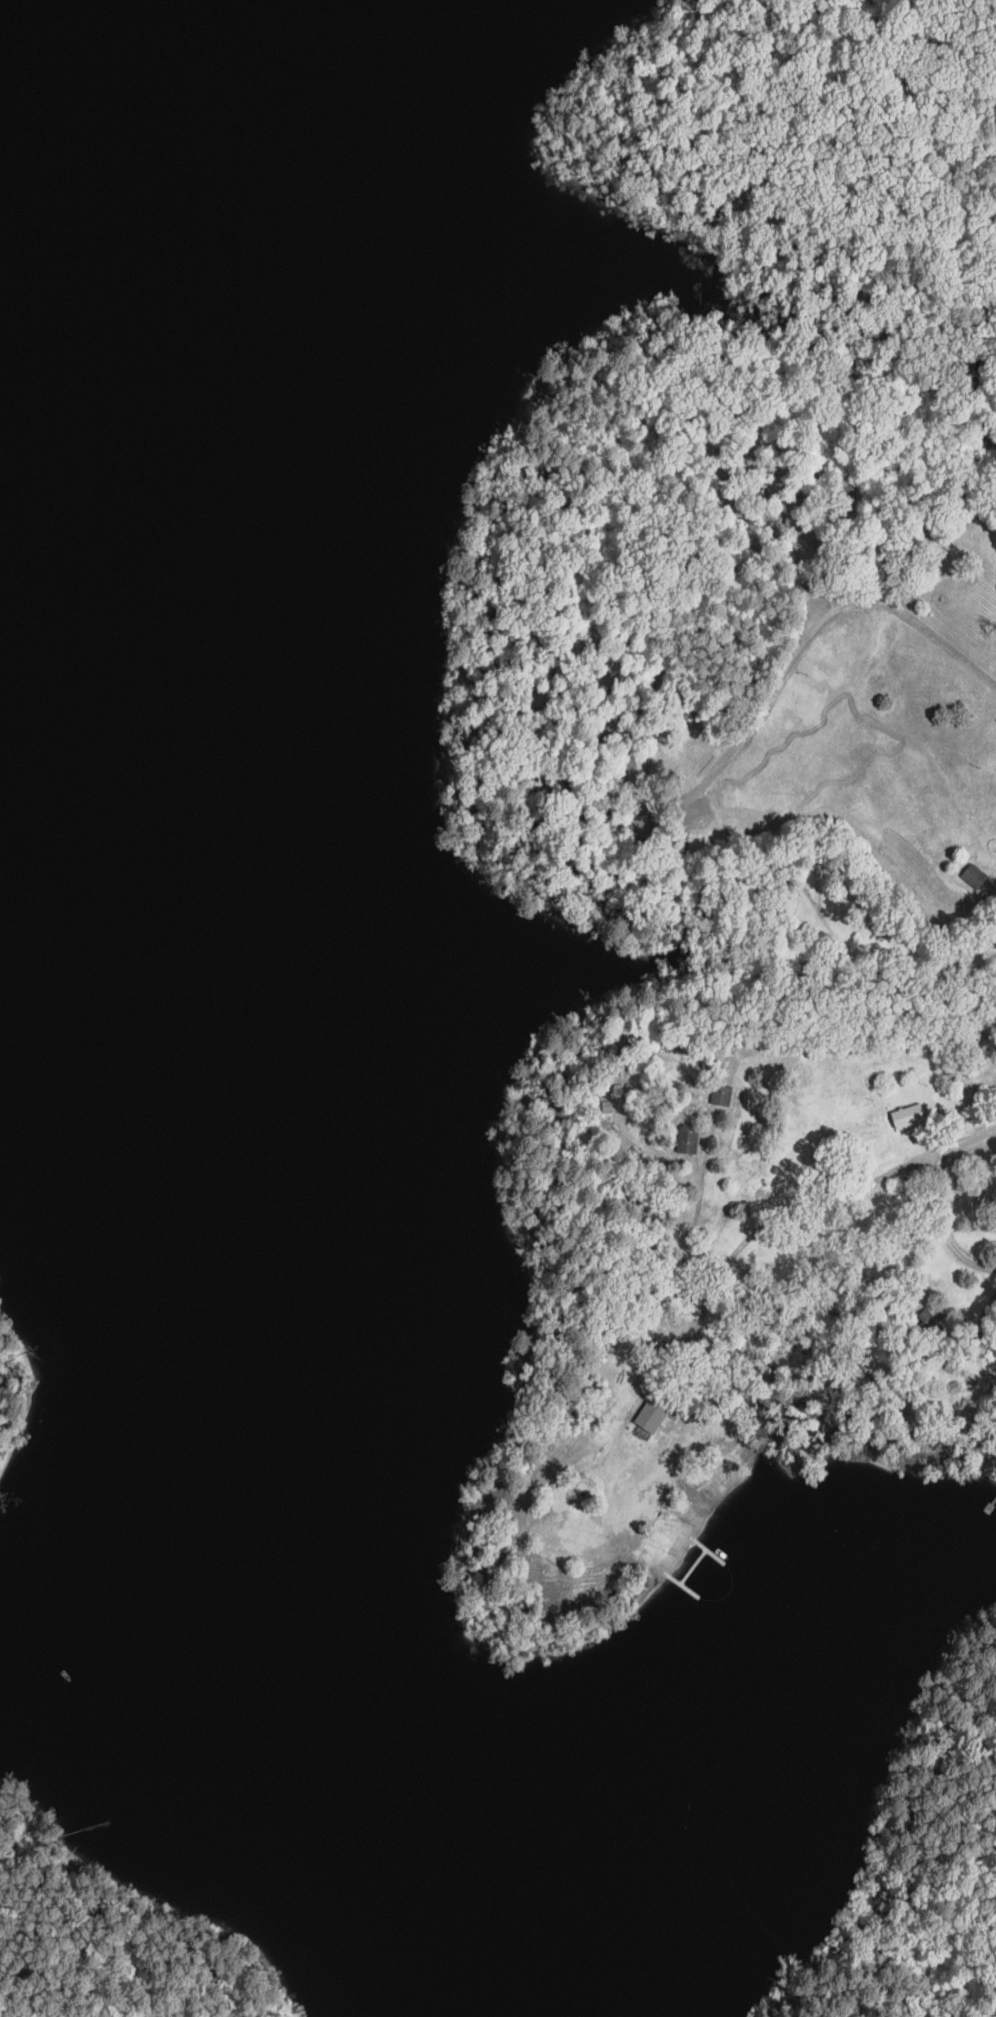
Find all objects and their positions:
building: (795, 511)
road: (820, 643)
building: (636, 768)
building: (640, 828)
building: (974, 876)
building: (721, 1095)
building: (907, 1115)
building: (687, 1139)
road: (836, 1199)
road: (943, 1225)
building: (930, 1325)
park: (19, 1359)
building: (652, 1413)
park: (121, 1921)

